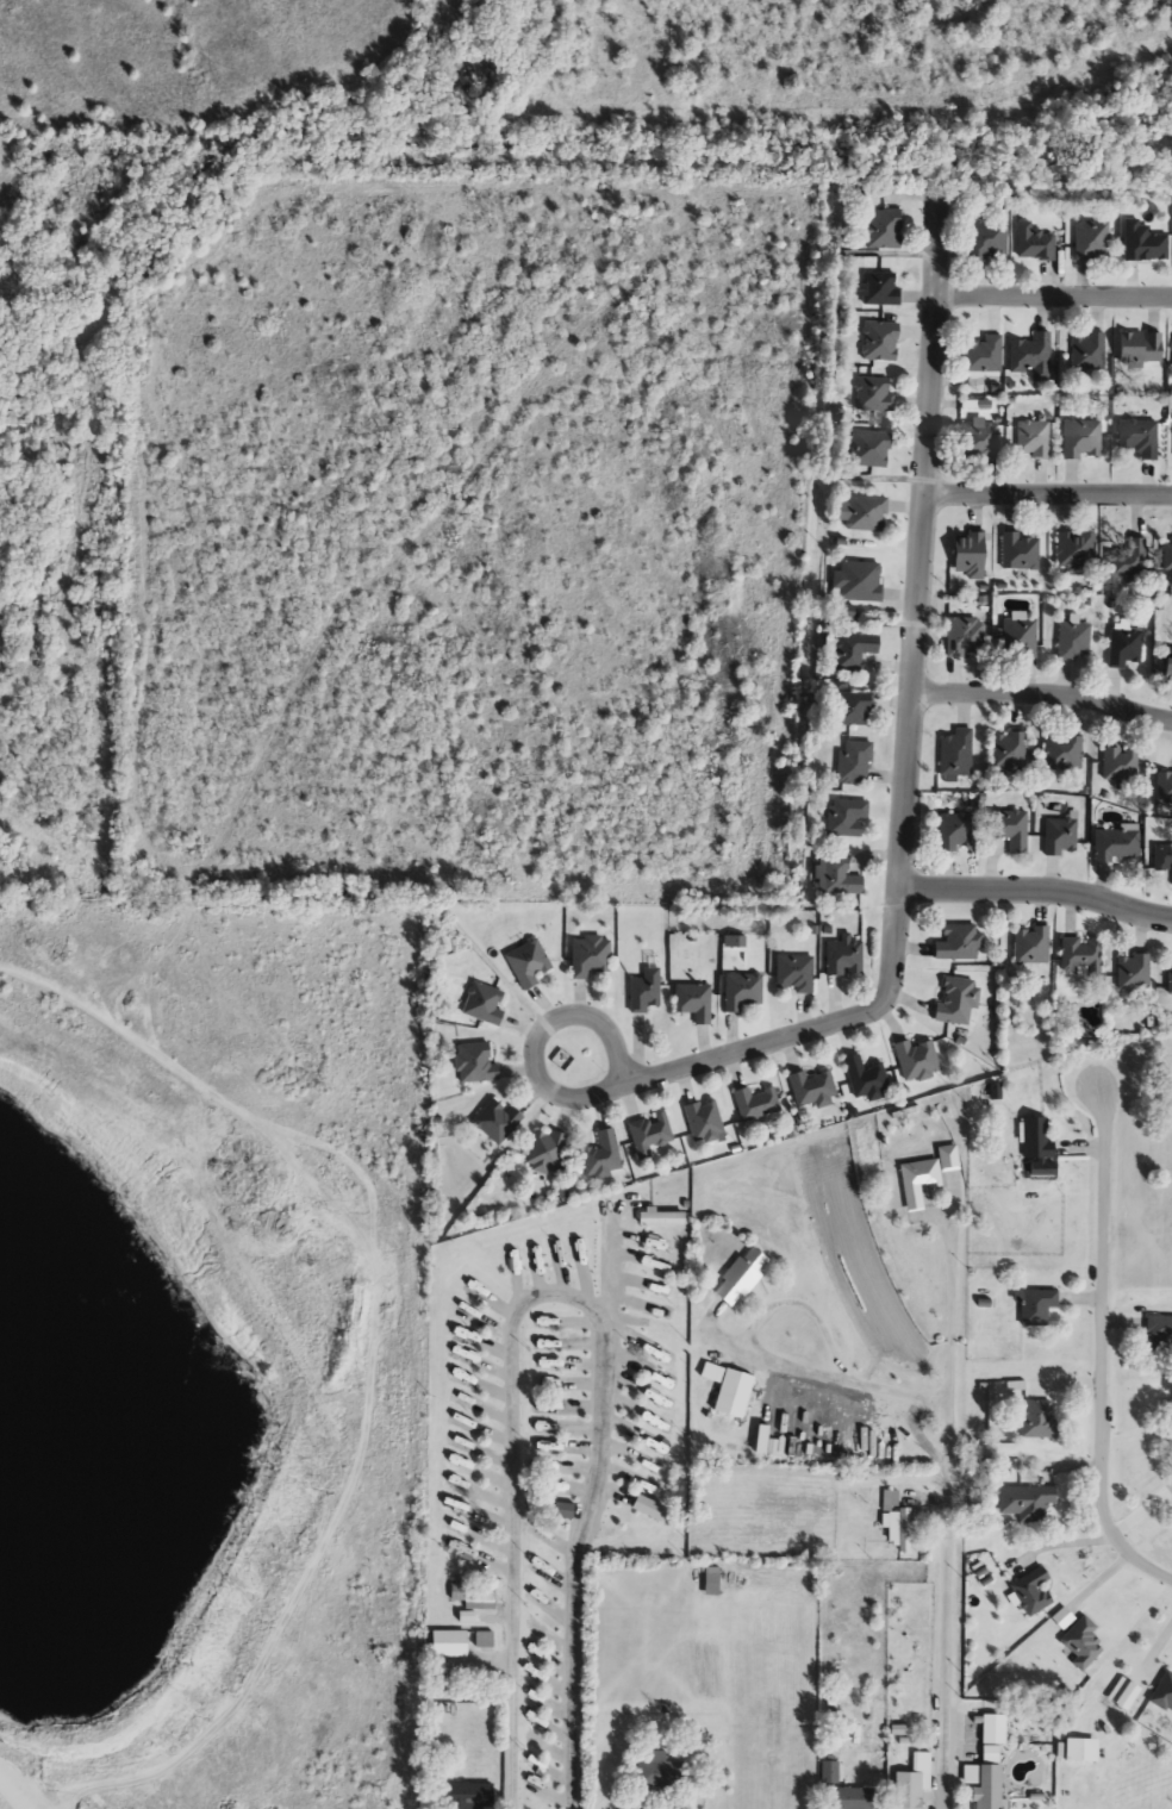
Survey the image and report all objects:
building: (883, 230)
building: (987, 242)
building: (1093, 243)
building: (1034, 244)
building: (1145, 244)
building: (881, 289)
road: (1056, 297)
building: (881, 343)
building: (1139, 350)
building: (1089, 354)
building: (984, 356)
building: (1034, 357)
building: (877, 395)
building: (1136, 437)
building: (1081, 441)
building: (979, 442)
building: (1034, 442)
building: (869, 451)
road: (1051, 495)
building: (866, 516)
building: (1076, 550)
building: (1021, 553)
building: (970, 556)
building: (1170, 562)
building: (1129, 563)
building: (856, 584)
building: (966, 638)
building: (1022, 638)
building: (1076, 641)
building: (1127, 649)
building: (853, 651)
building: (1165, 673)
road: (1043, 694)
building: (852, 710)
road: (910, 734)
building: (1011, 751)
building: (1065, 754)
building: (958, 756)
building: (853, 763)
building: (1122, 766)
building: (1164, 784)
building: (846, 819)
building: (1012, 830)
building: (958, 835)
building: (1061, 837)
building: (1120, 846)
building: (1162, 859)
building: (835, 879)
road: (1037, 892)
building: (960, 944)
building: (1033, 947)
building: (590, 959)
building: (844, 959)
building: (1083, 959)
building: (529, 963)
building: (794, 973)
building: (1134, 974)
building: (1170, 978)
building: (742, 992)
building: (644, 993)
building: (694, 1003)
building: (959, 1003)
building: (485, 1005)
building: (918, 1061)
building: (476, 1065)
building: (866, 1079)
road: (542, 1085)
building: (813, 1090)
building: (758, 1104)
building: (498, 1121)
building: (704, 1121)
building: (649, 1135)
building: (1035, 1140)
building: (547, 1152)
building: (603, 1155)
building: (928, 1178)
building: (656, 1246)
building: (740, 1281)
road: (611, 1283)
road: (560, 1298)
building: (650, 1304)
building: (1035, 1308)
road: (954, 1312)
building: (1159, 1334)
road: (1106, 1348)
road: (834, 1374)
building: (731, 1392)
building: (1037, 1421)
building: (1166, 1421)
building: (1036, 1504)
building: (897, 1524)
building: (715, 1584)
building: (1030, 1591)
road: (947, 1608)
building: (485, 1641)
building: (451, 1646)
building: (1083, 1646)
building: (1164, 1695)
building: (1080, 1752)
building: (987, 1765)
building: (661, 1773)
building: (914, 1784)
road: (15, 1792)
building: (473, 1796)
building: (853, 1799)

